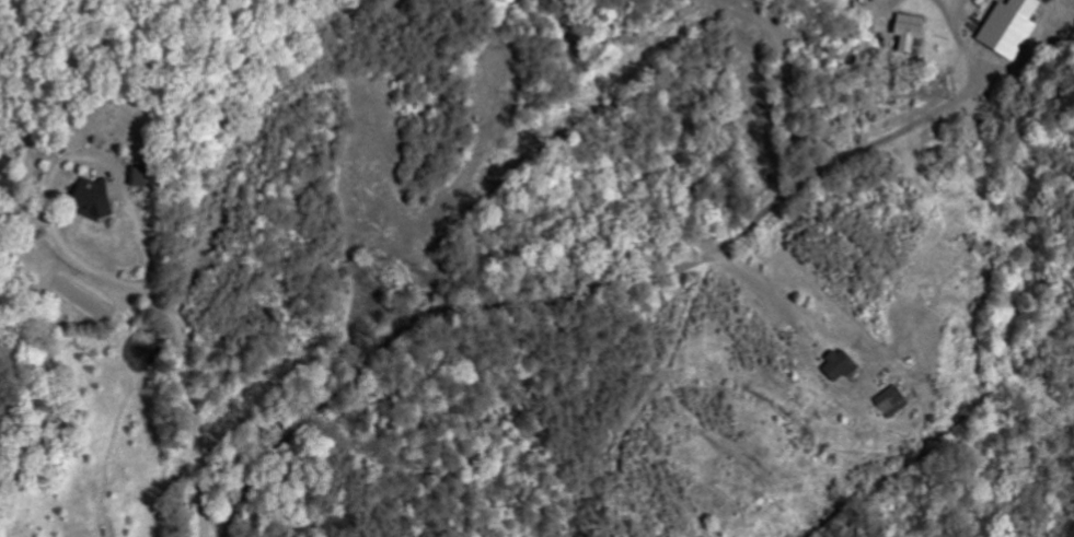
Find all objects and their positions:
building: (1007, 26)
building: (906, 30)
building: (135, 174)
building: (88, 198)
road: (574, 293)
building: (836, 364)
building: (890, 400)

